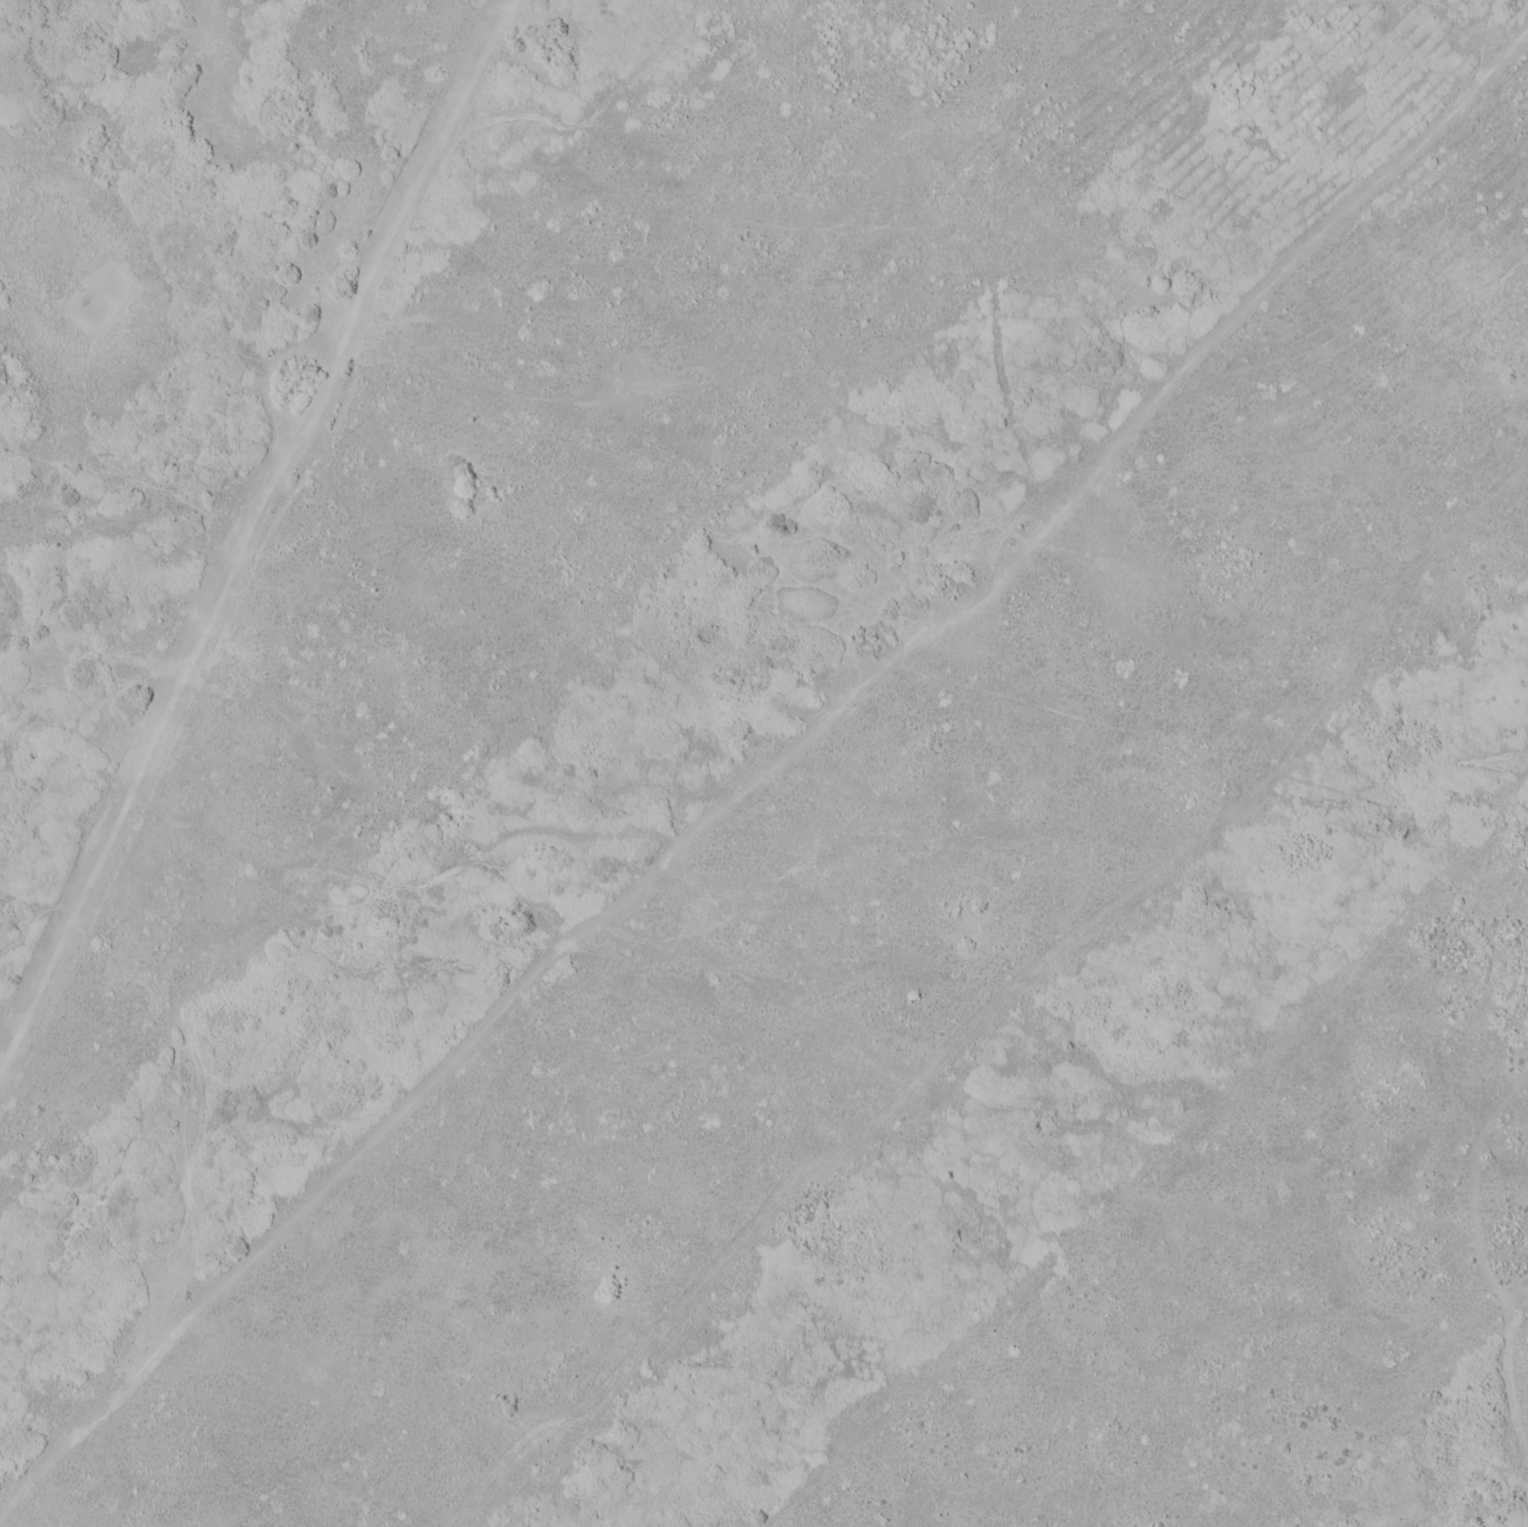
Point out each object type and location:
road: (251, 517)

